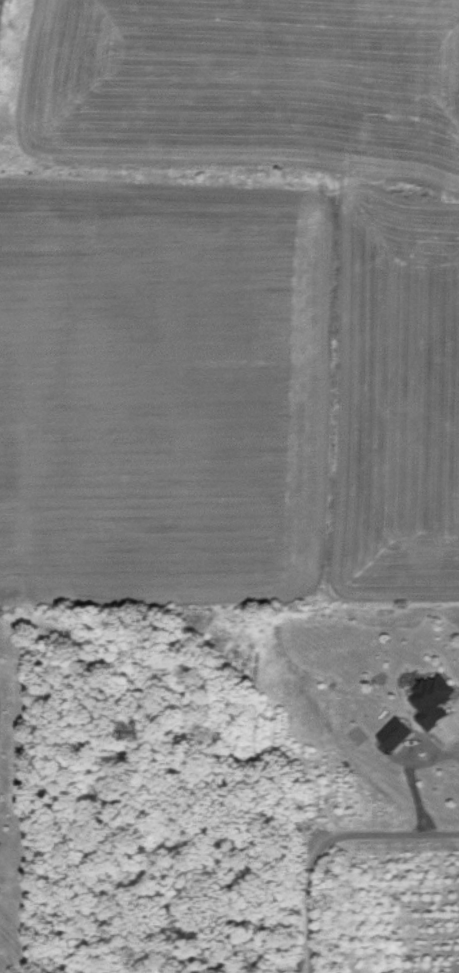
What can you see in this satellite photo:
building: (429, 696)
building: (391, 730)
road: (452, 735)
road: (319, 836)

